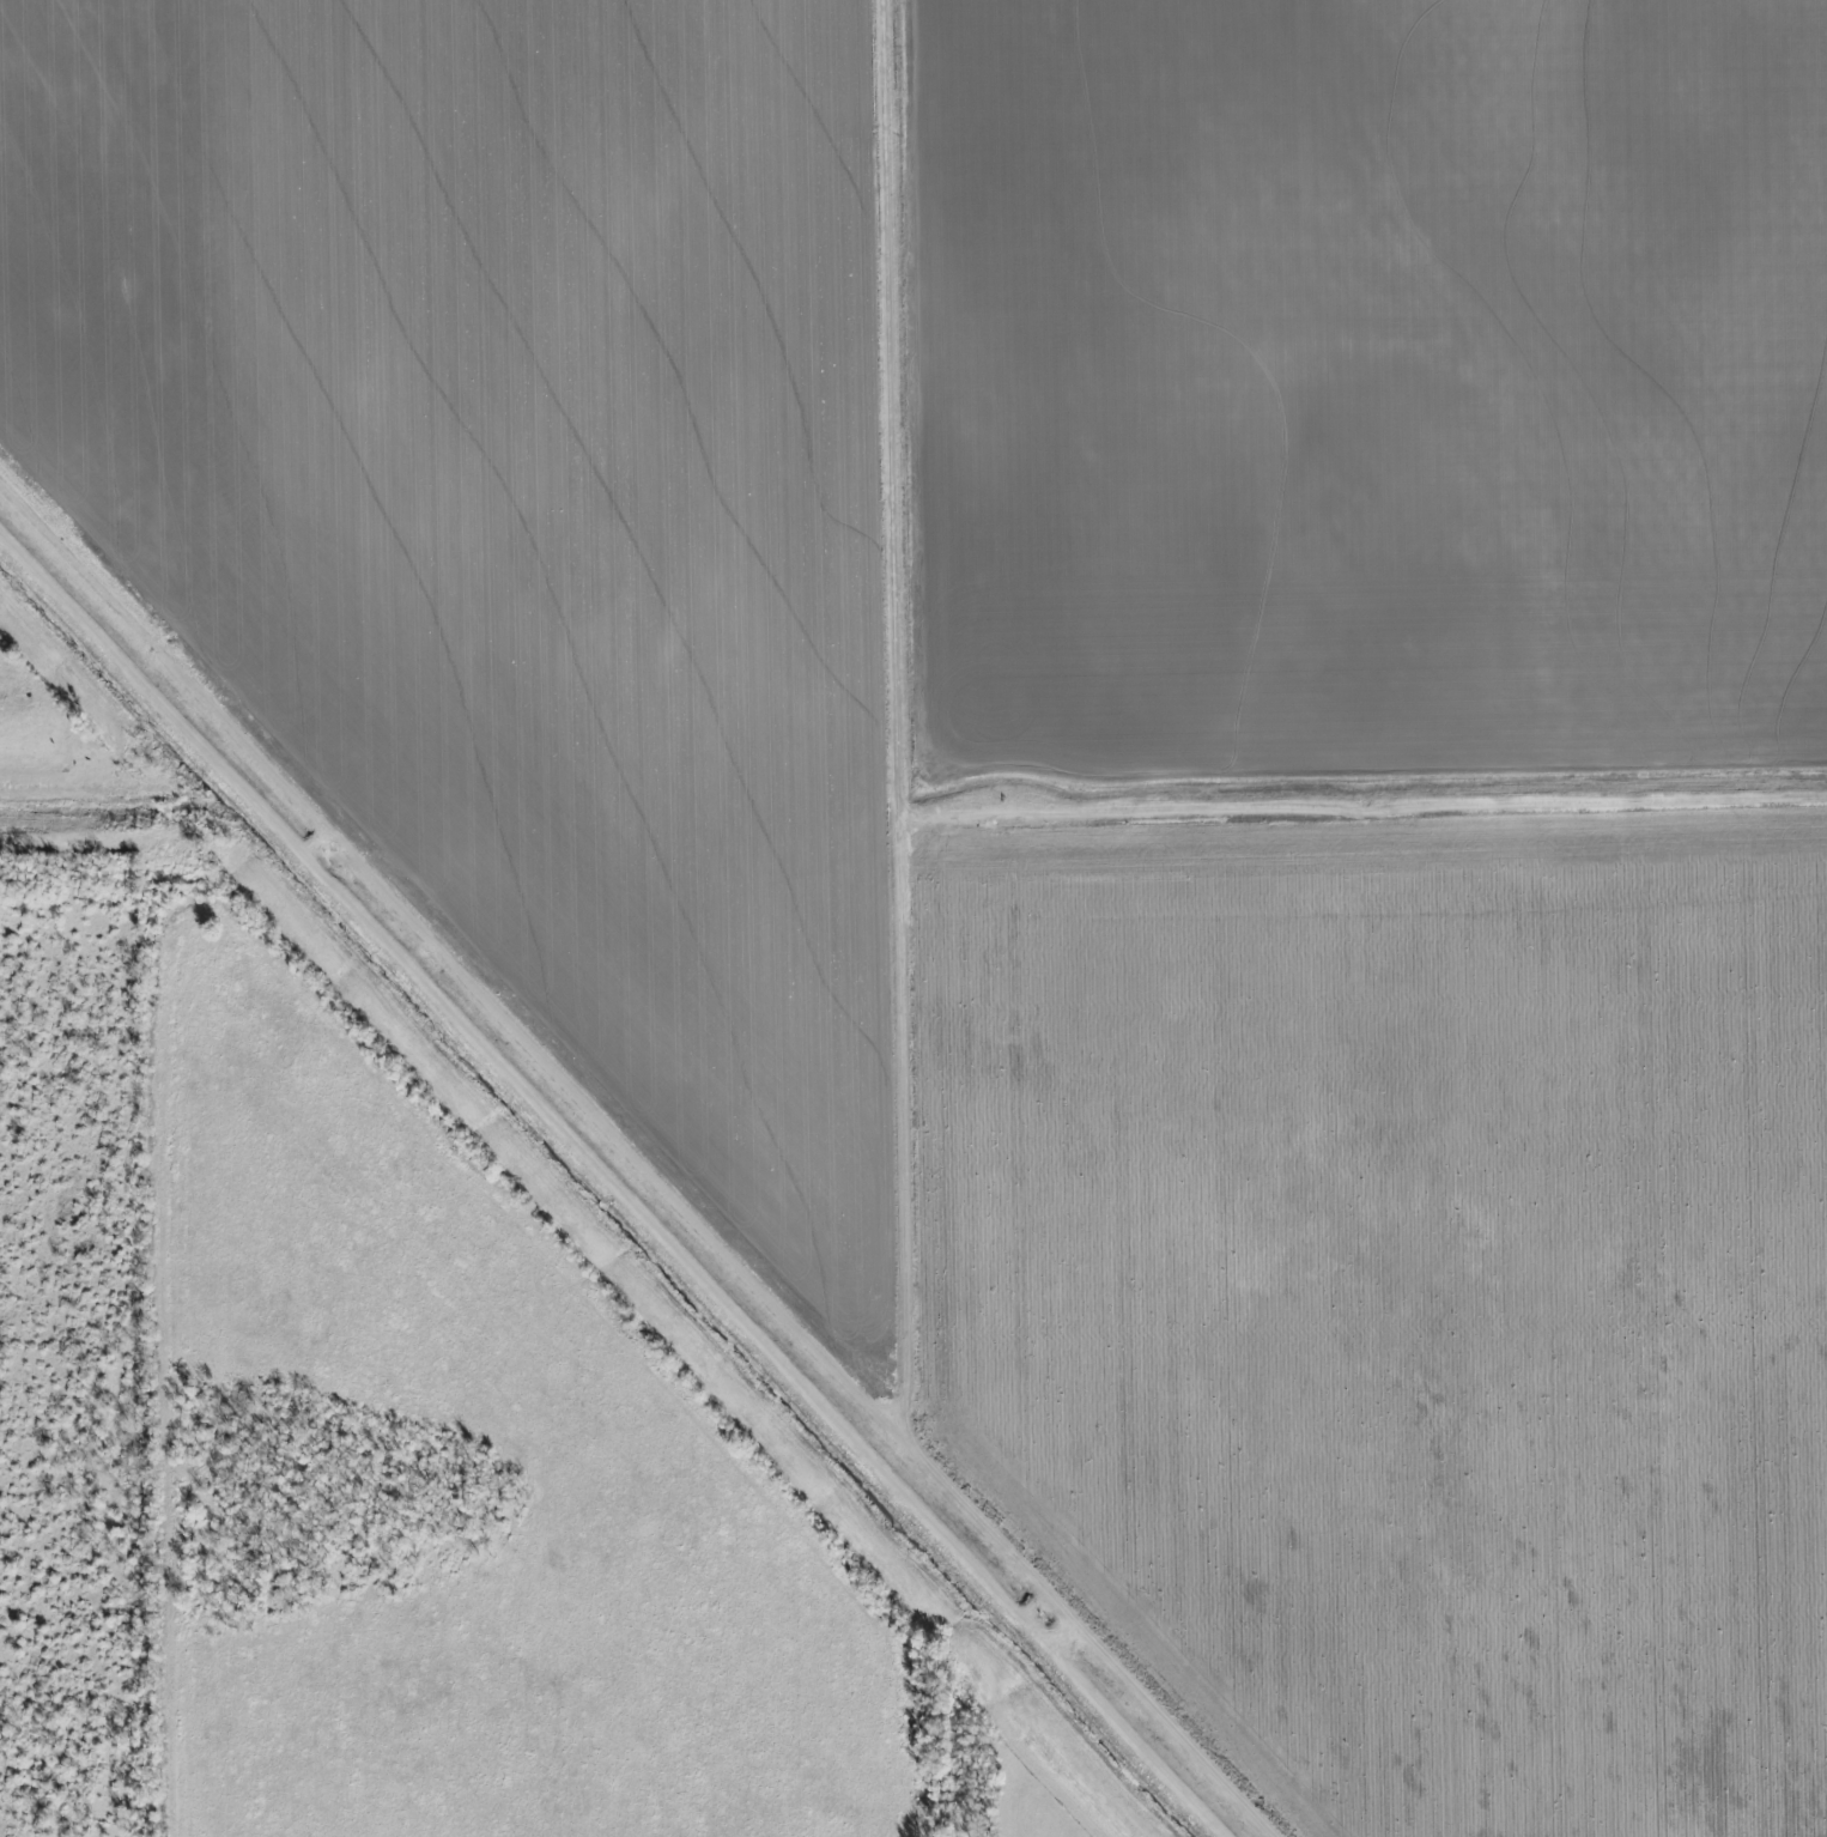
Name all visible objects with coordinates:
road: (919, 432)
road: (66, 786)
road: (941, 971)
road: (475, 980)
road: (180, 1295)

